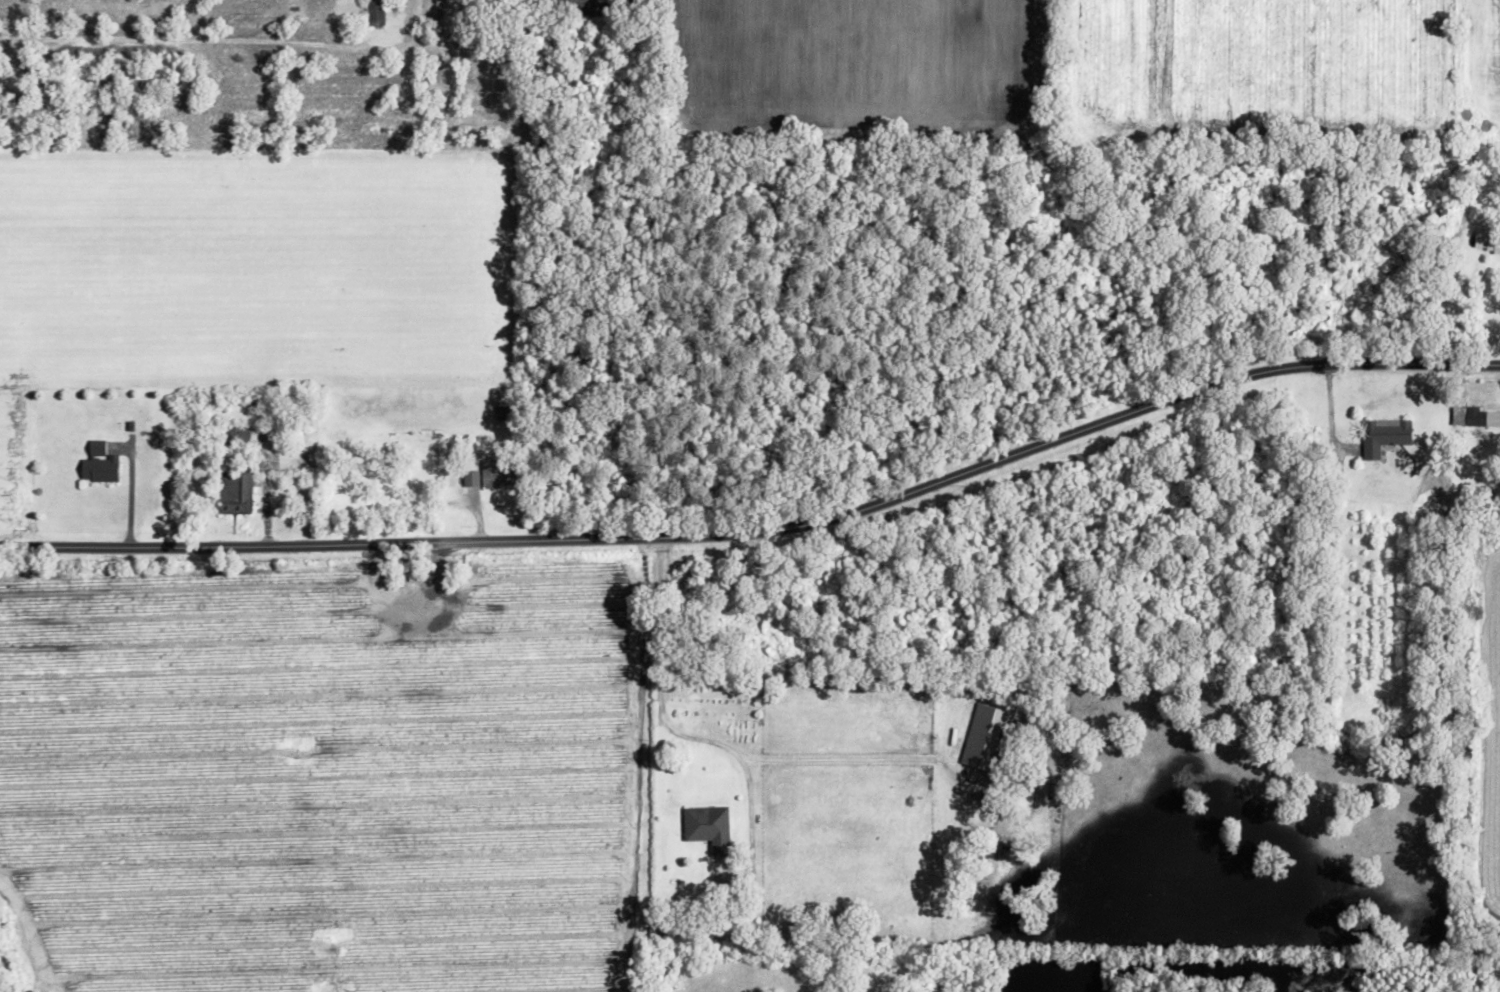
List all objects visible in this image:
building: (374, 11)
building: (1487, 240)
building: (1481, 417)
building: (1384, 435)
building: (236, 437)
building: (98, 463)
building: (495, 475)
building: (470, 478)
building: (235, 491)
road: (763, 530)
road: (659, 694)
building: (987, 737)
building: (708, 827)

